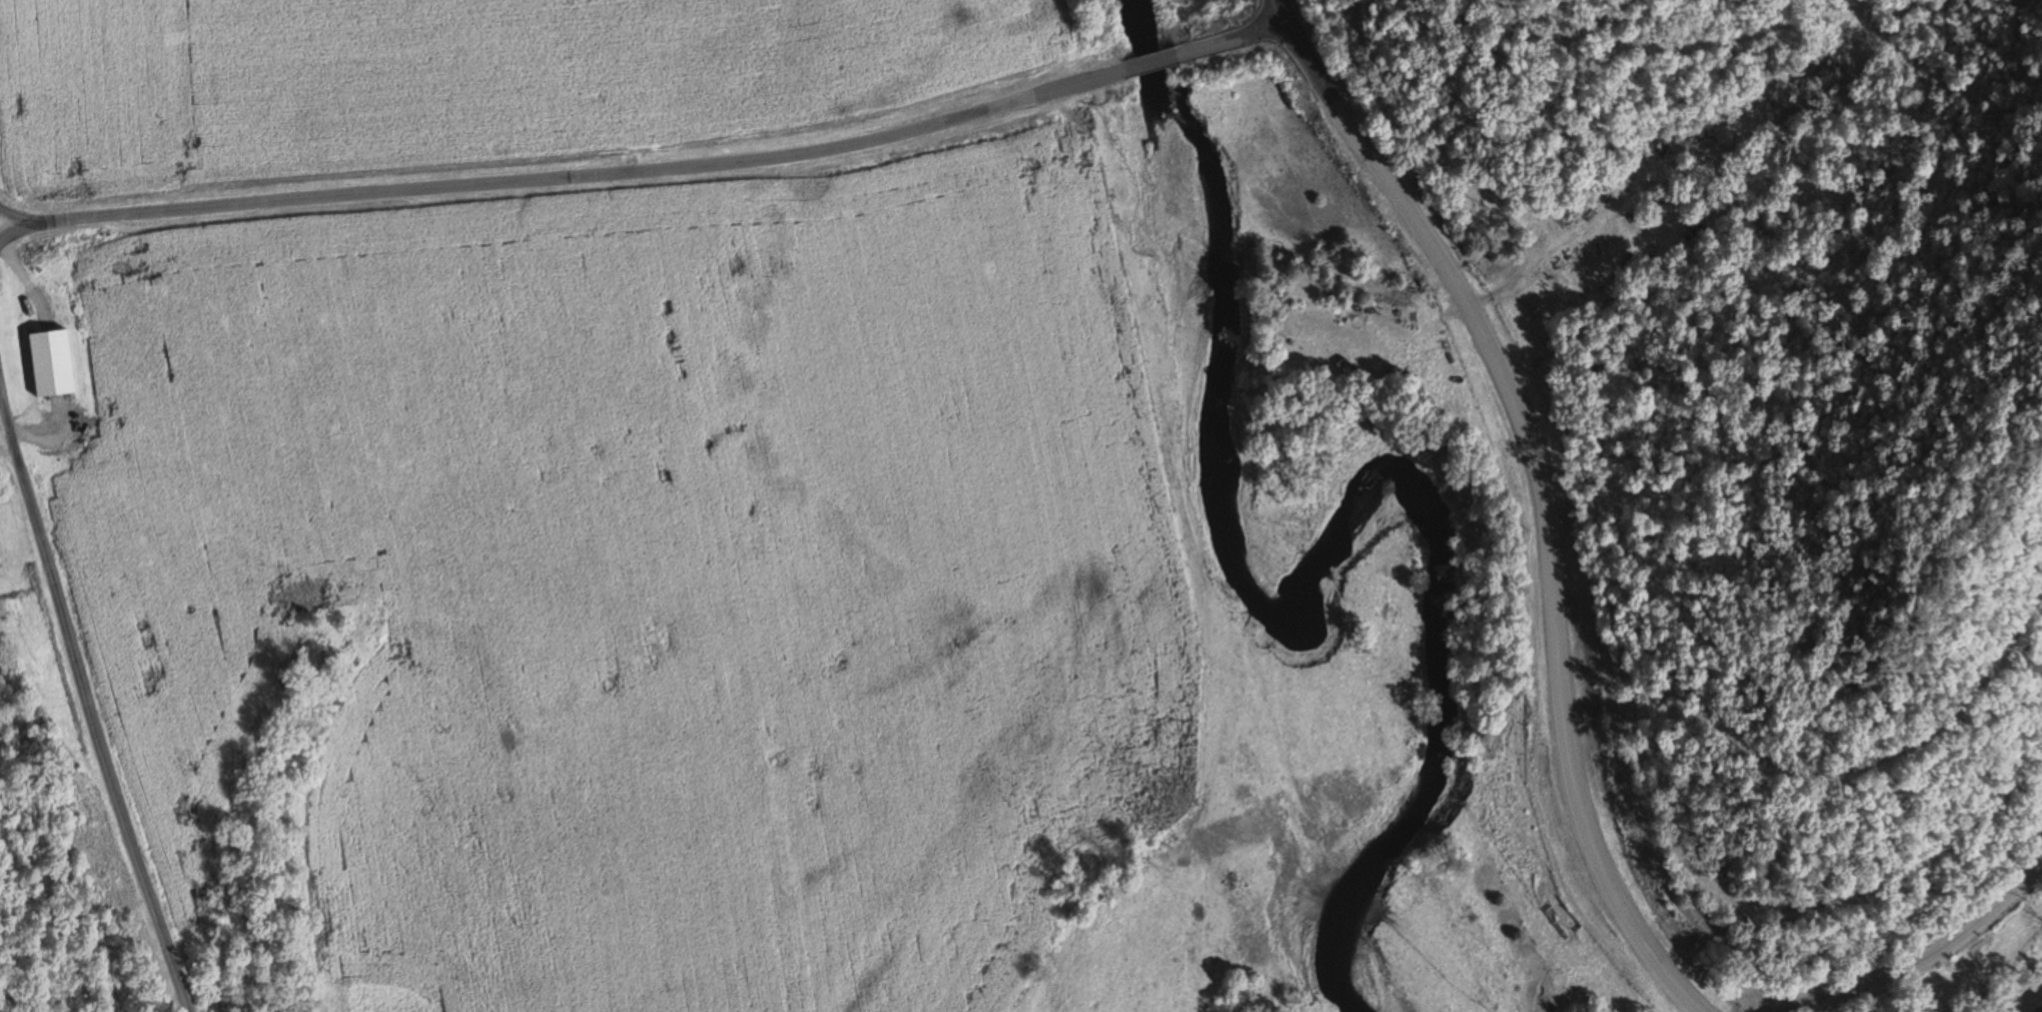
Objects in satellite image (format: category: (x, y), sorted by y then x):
road: (1231, 40)
road: (1148, 64)
road: (564, 179)
building: (17, 378)
road: (1541, 490)
road: (86, 710)
road: (1919, 963)

